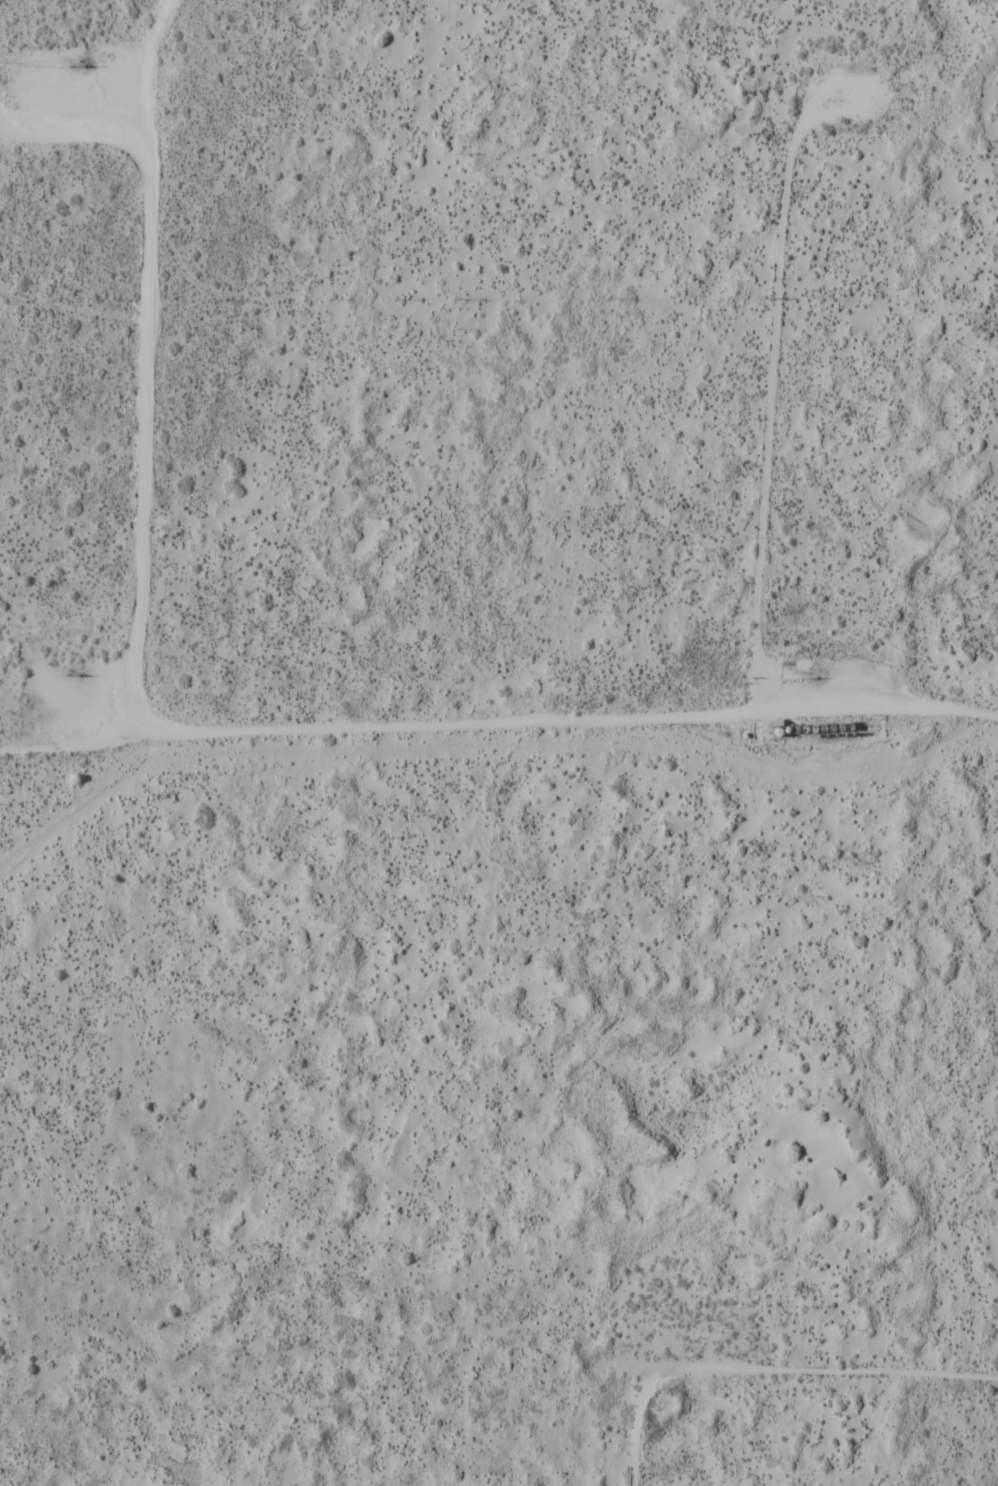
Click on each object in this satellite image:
road: (129, 71)
road: (147, 367)
road: (771, 410)
road: (499, 727)
road: (764, 1370)

